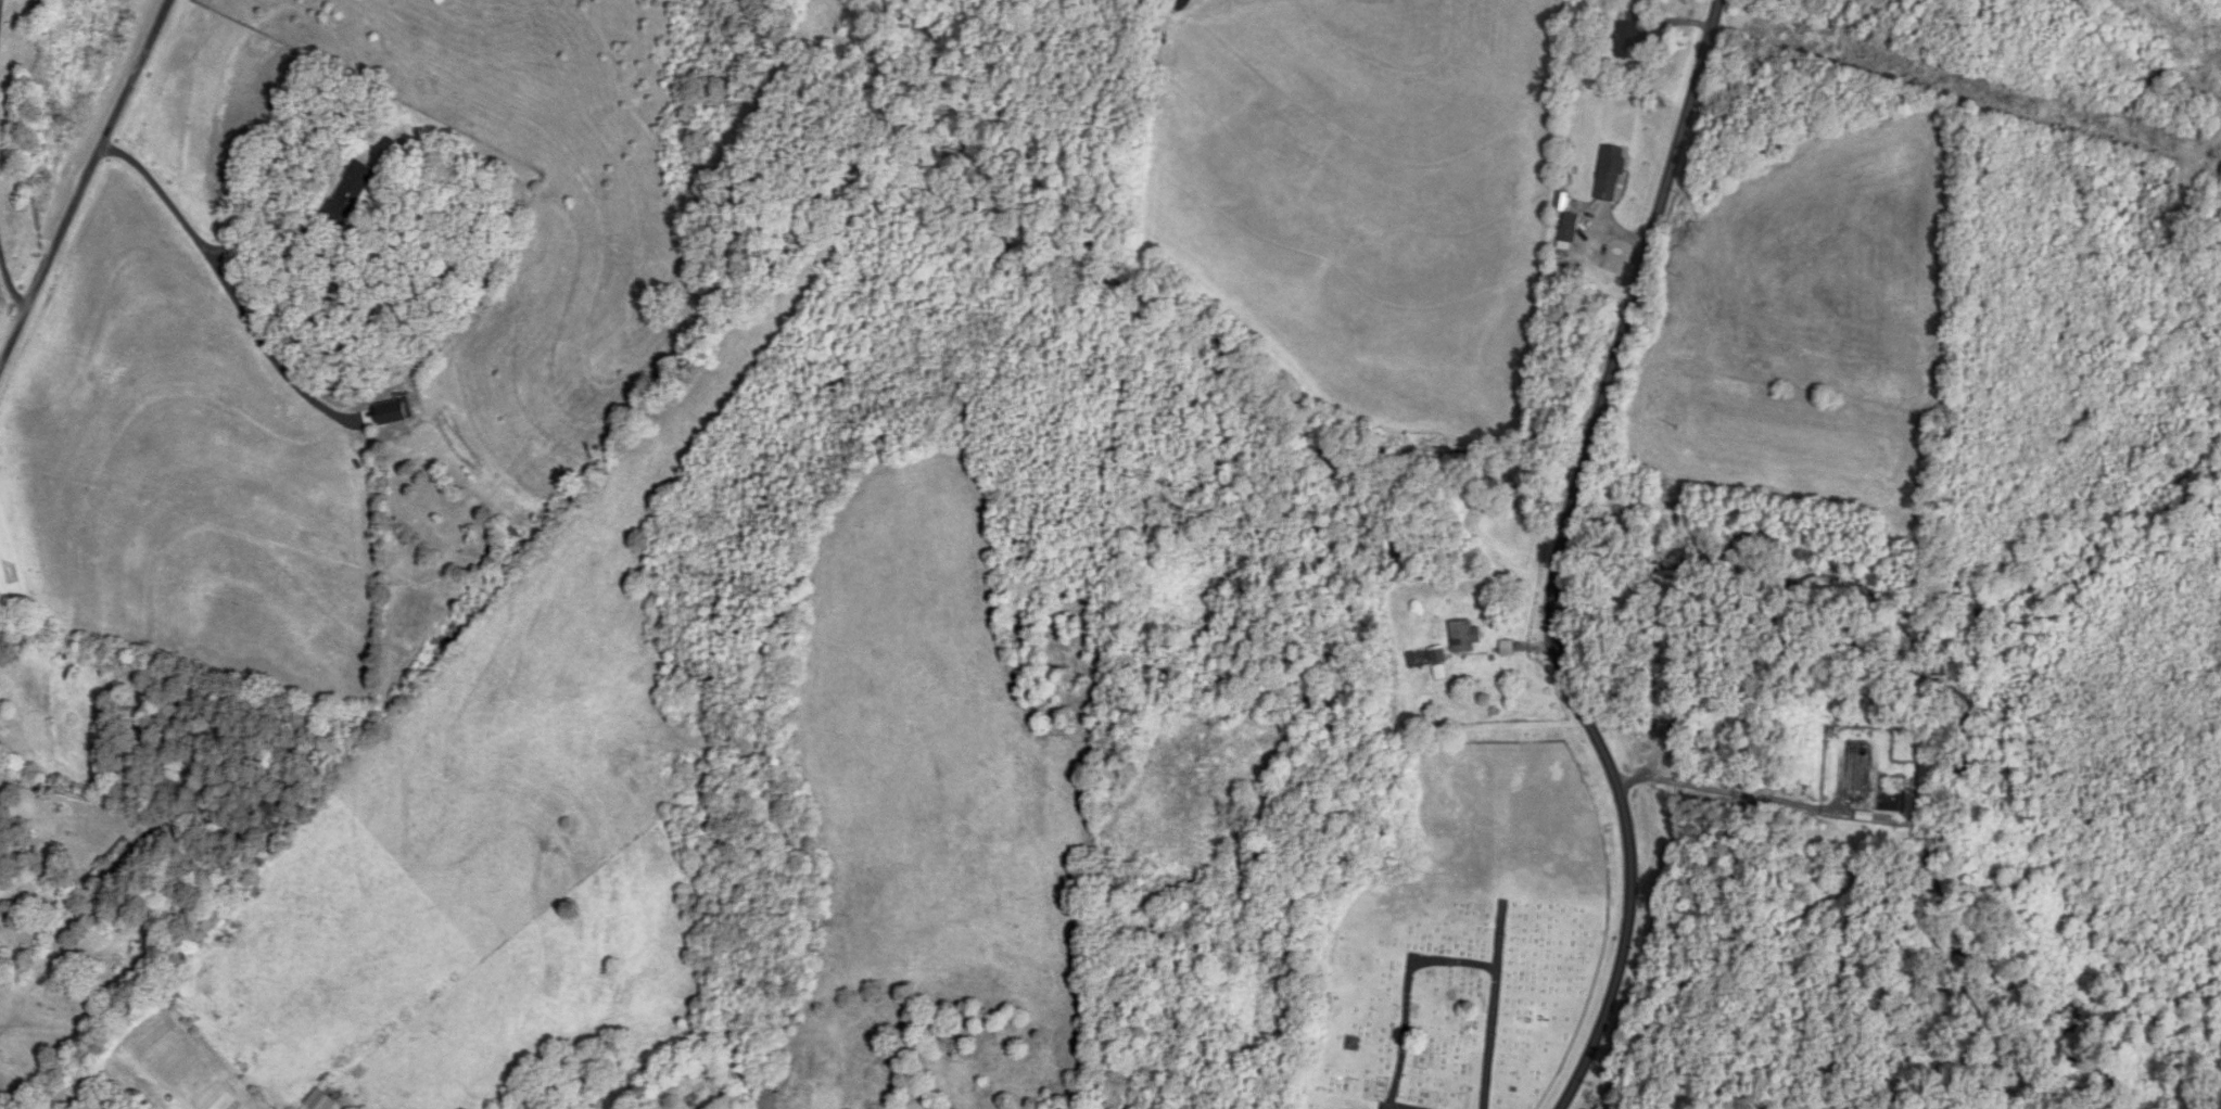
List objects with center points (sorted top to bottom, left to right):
road: (0, 1)
building: (1629, 41)
building: (1610, 175)
road: (83, 183)
building: (350, 193)
building: (1569, 228)
road: (192, 230)
road: (10, 282)
road: (1558, 557)
building: (1464, 637)
building: (1426, 659)
building: (114, 854)
park: (1468, 942)

